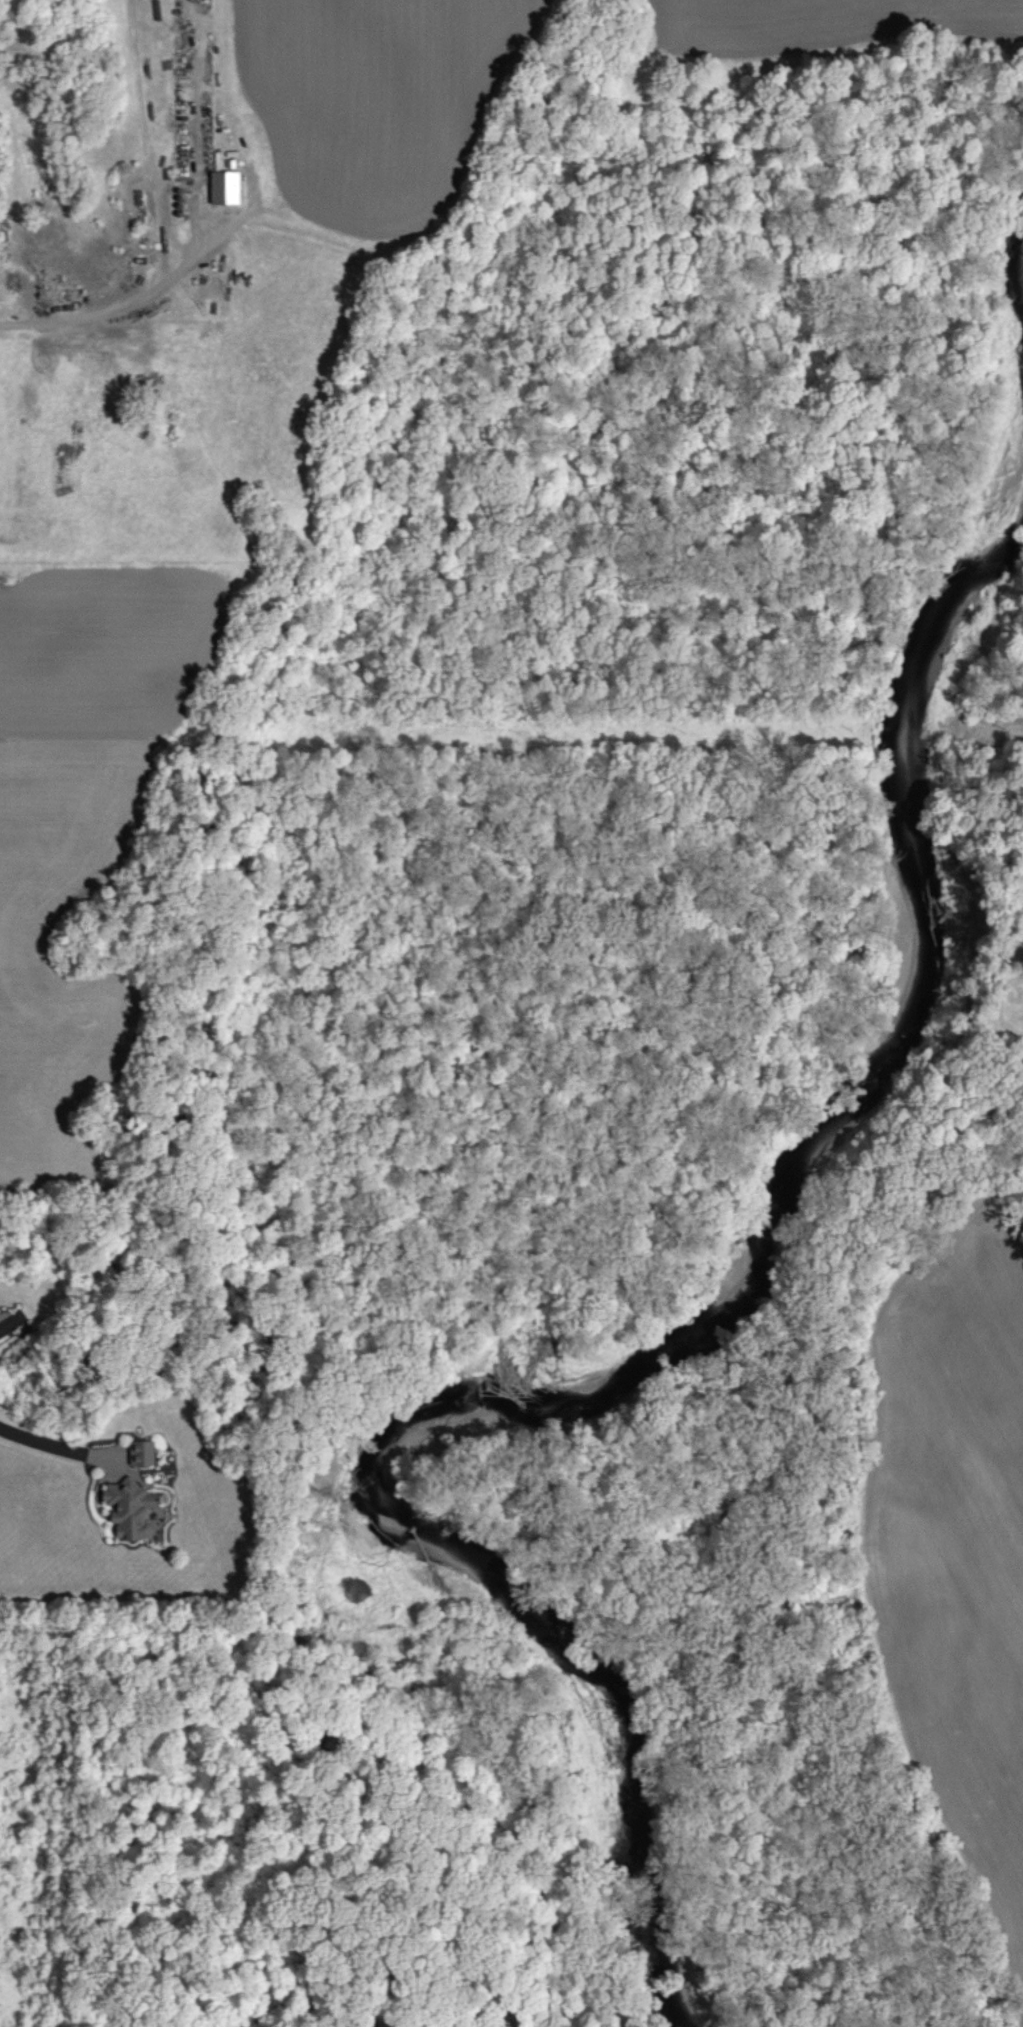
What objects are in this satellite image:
building: (225, 187)
road: (211, 243)
road: (88, 319)
road: (37, 1439)
building: (142, 1453)
building: (130, 1508)

